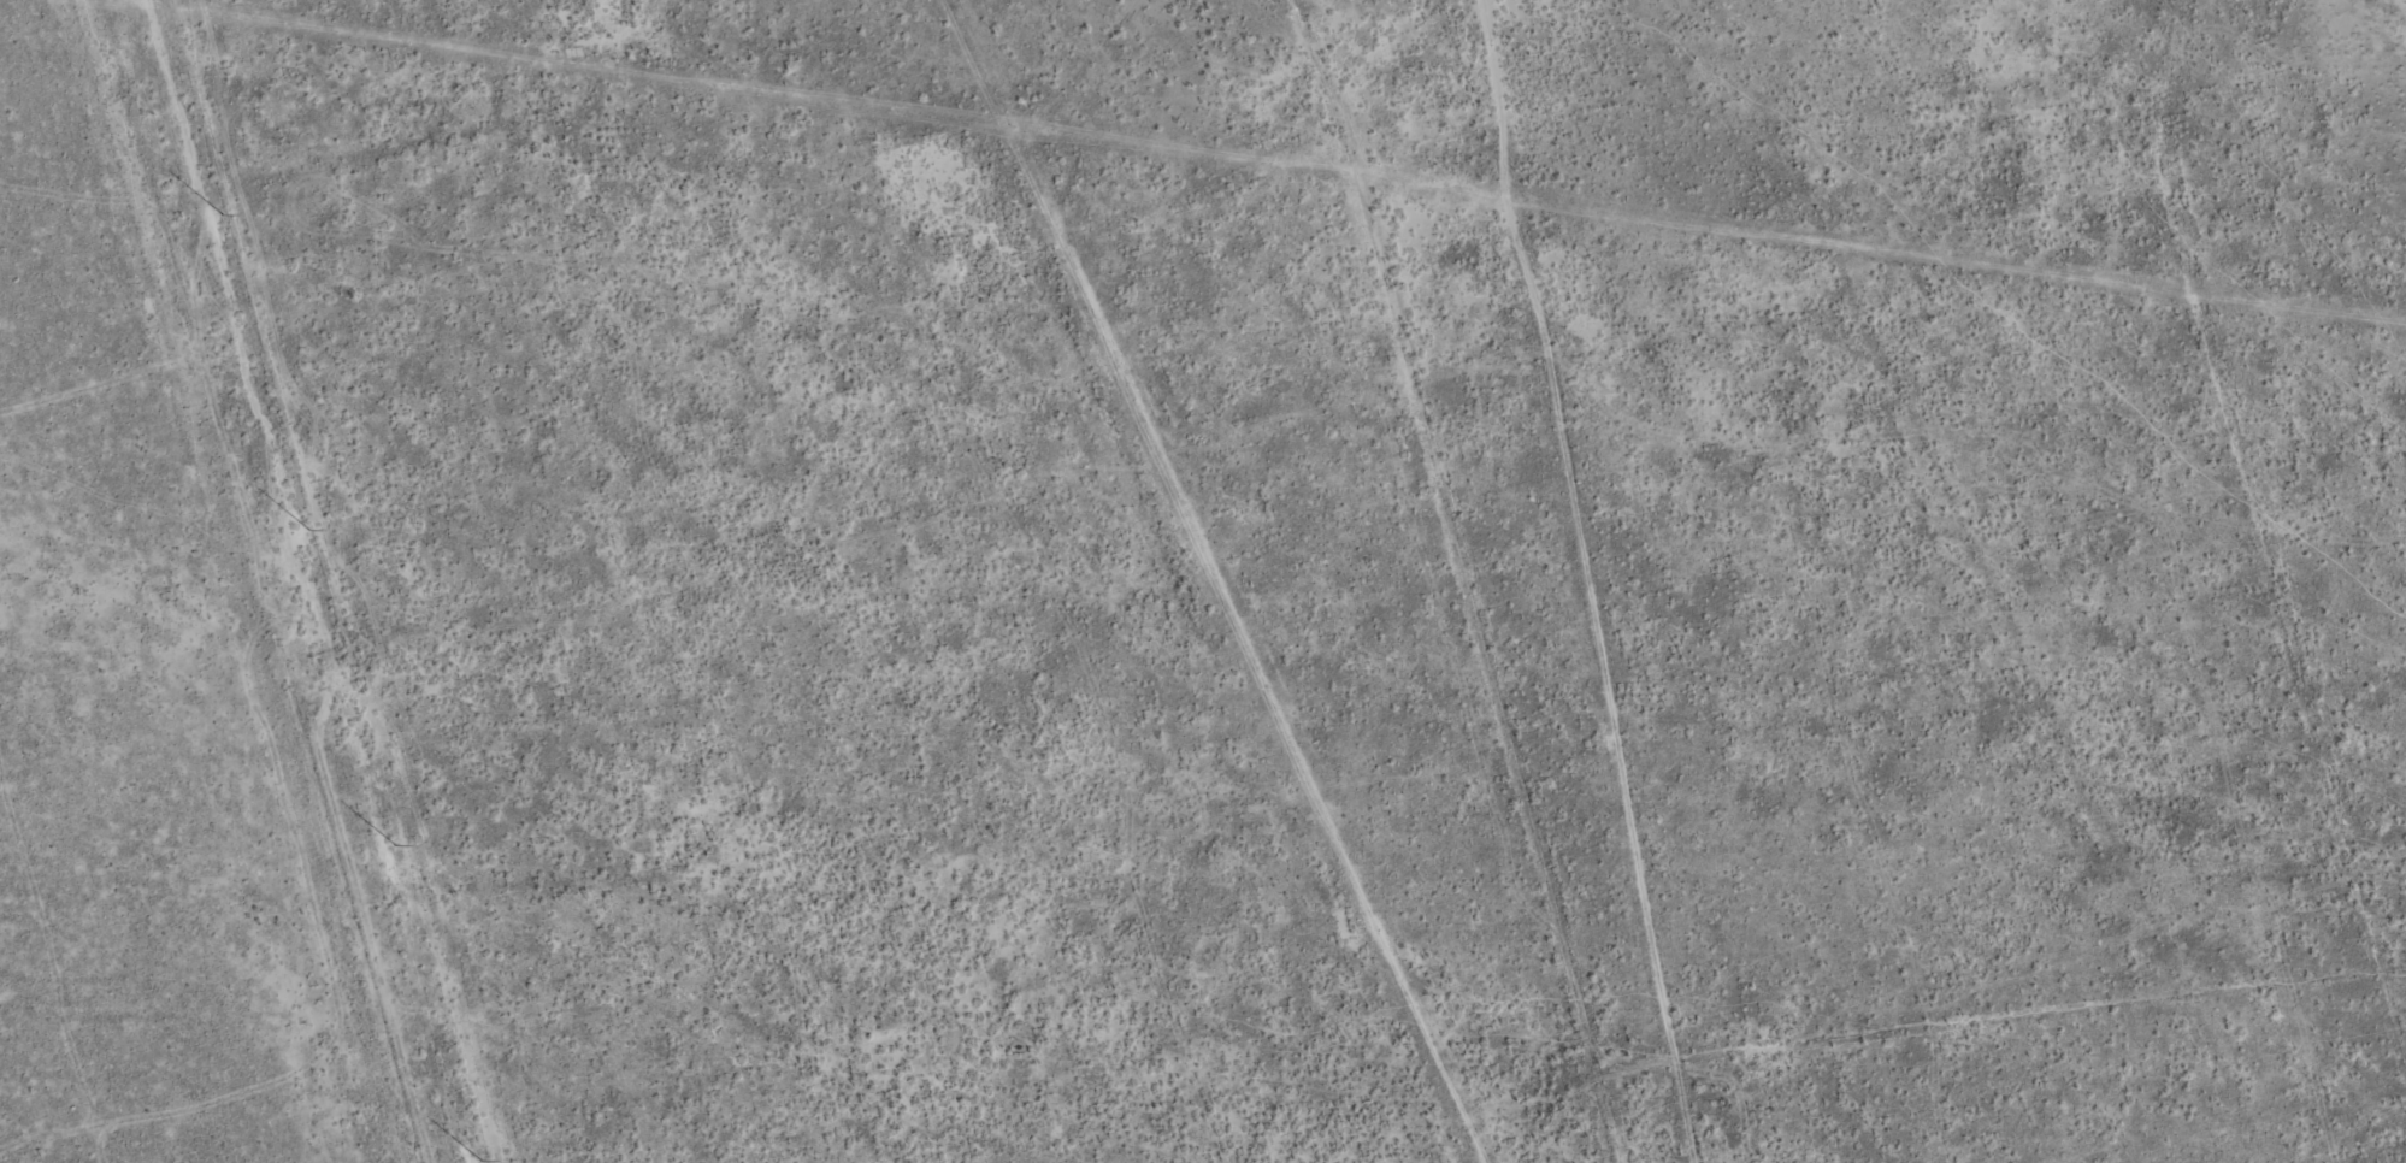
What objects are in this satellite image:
power tower: (219, 212)
power tower: (305, 529)
power tower: (391, 843)
power tower: (479, 1157)

